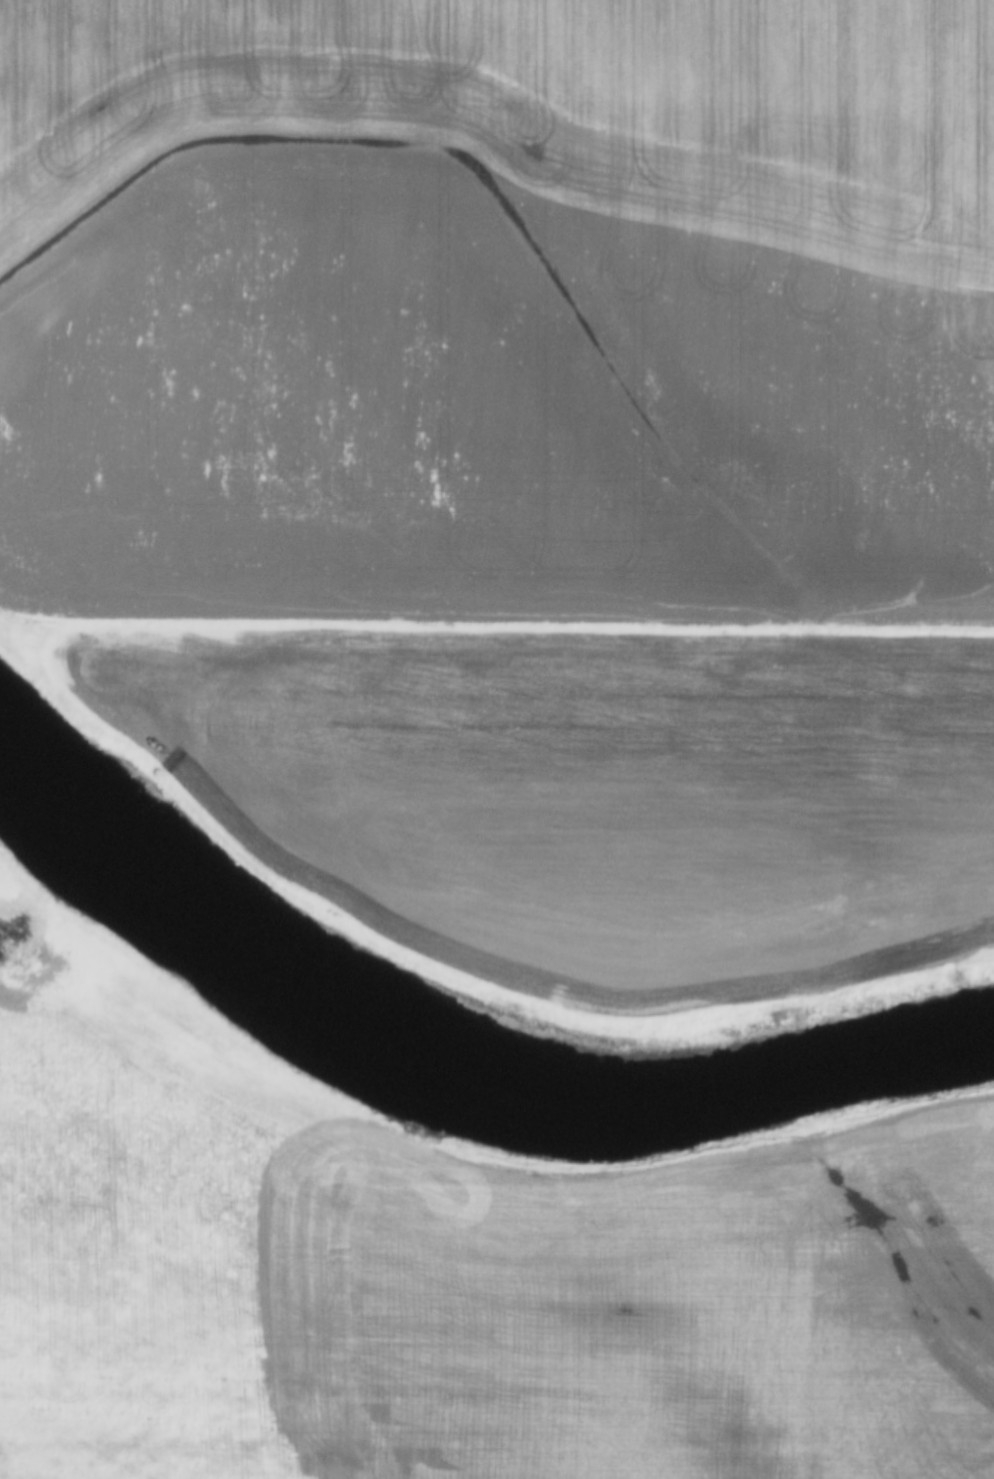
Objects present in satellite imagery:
river: (451, 1076)

